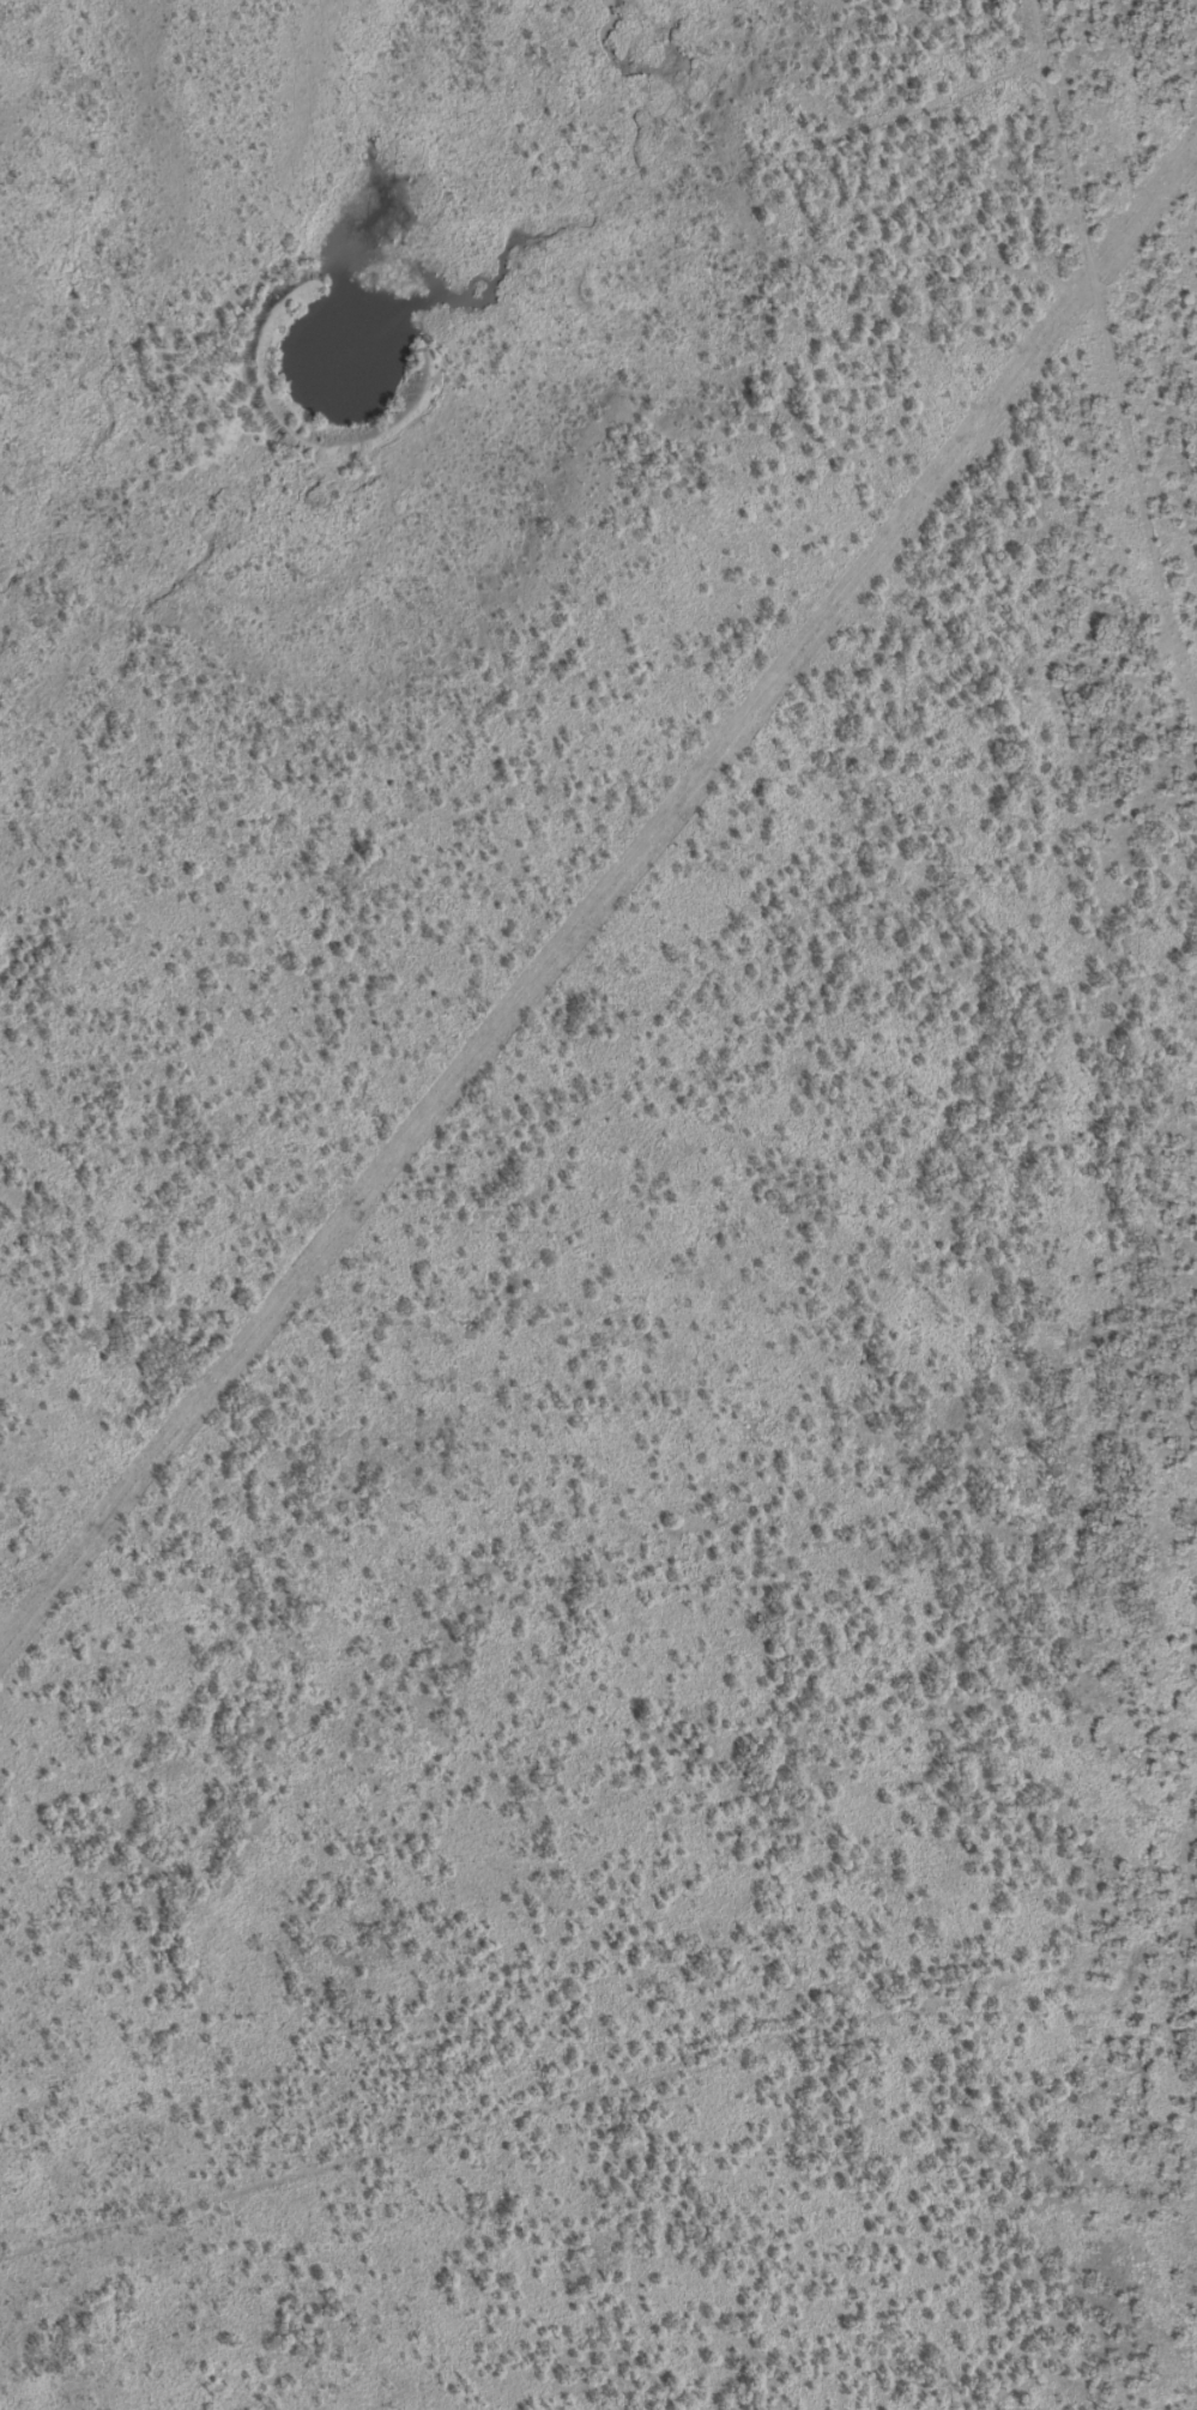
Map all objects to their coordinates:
road: (1092, 375)

